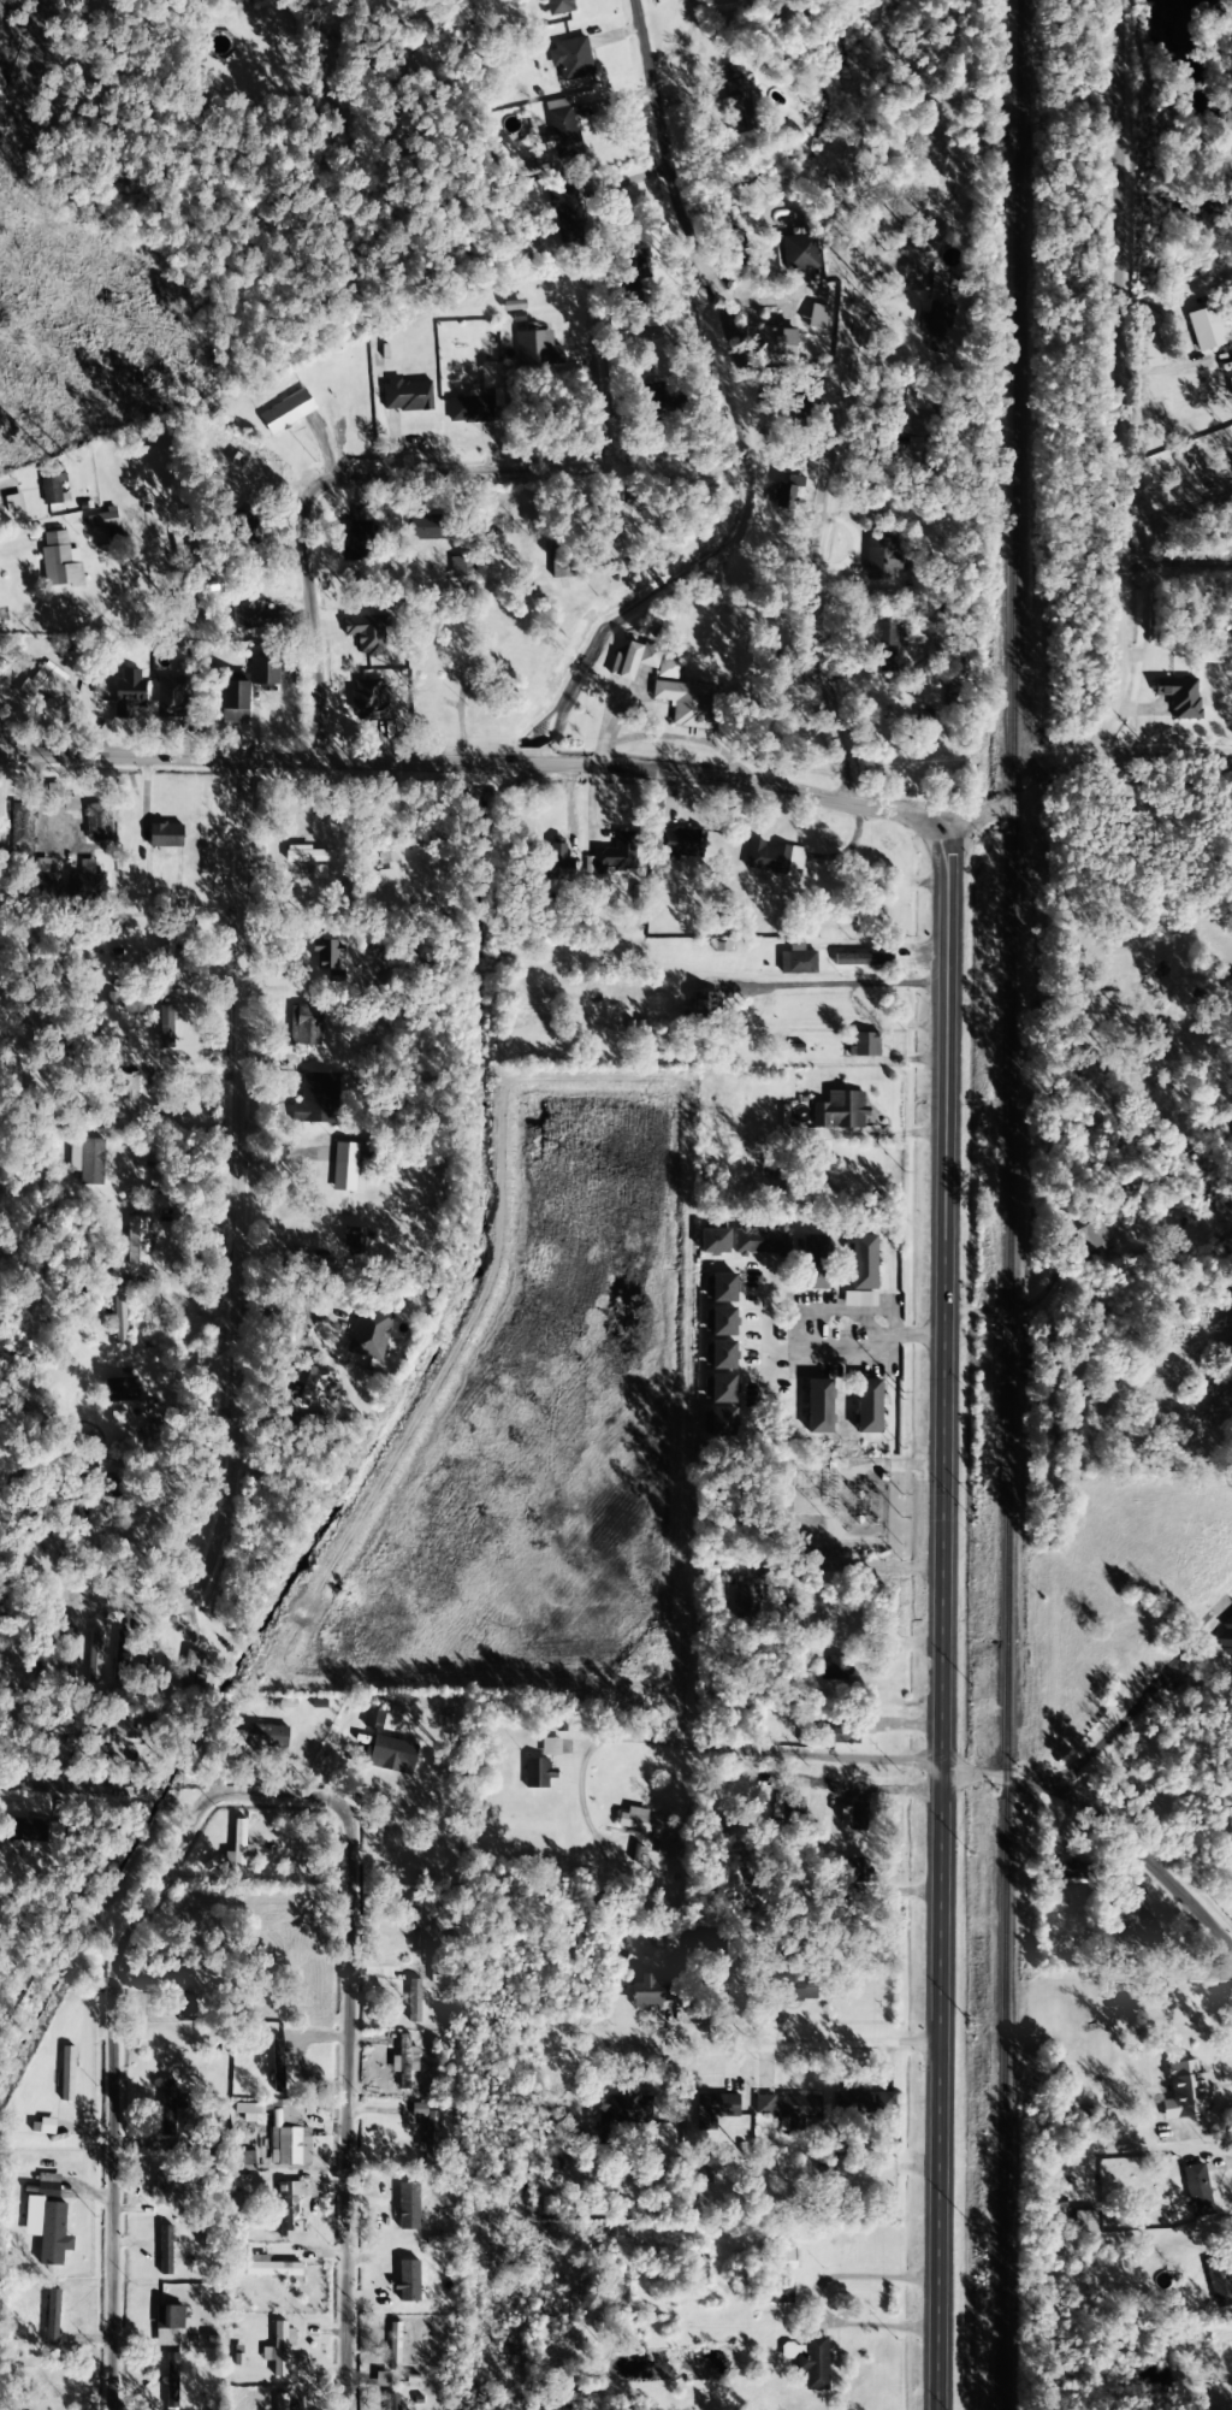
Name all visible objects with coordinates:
building: (239, 1)
building: (559, 6)
building: (570, 59)
building: (736, 94)
building: (562, 129)
building: (564, 212)
building: (798, 250)
road: (150, 264)
building: (634, 265)
building: (940, 284)
building: (816, 317)
building: (932, 320)
building: (1207, 329)
building: (776, 345)
building: (537, 349)
road: (1120, 385)
road: (810, 386)
building: (405, 396)
building: (650, 400)
building: (468, 409)
building: (913, 410)
building: (286, 412)
road: (551, 460)
road: (229, 474)
building: (52, 488)
building: (786, 491)
building: (13, 503)
building: (102, 519)
building: (425, 527)
building: (248, 528)
building: (357, 538)
building: (883, 559)
road: (1175, 561)
building: (59, 562)
building: (561, 563)
building: (456, 567)
building: (256, 615)
building: (366, 633)
building: (887, 643)
building: (640, 662)
building: (263, 671)
building: (48, 685)
building: (128, 693)
building: (1179, 697)
building: (170, 698)
building: (369, 701)
building: (233, 702)
building: (688, 704)
road: (476, 750)
road: (1157, 760)
road: (1017, 798)
building: (97, 822)
building: (20, 828)
building: (164, 834)
building: (402, 843)
building: (681, 843)
building: (614, 853)
building: (557, 856)
building: (772, 858)
building: (385, 878)
building: (49, 880)
building: (85, 886)
building: (164, 957)
building: (859, 959)
building: (796, 961)
building: (704, 1005)
building: (304, 1024)
building: (864, 1045)
building: (123, 1097)
building: (315, 1099)
building: (840, 1110)
building: (87, 1160)
building: (346, 1169)
railway: (1006, 1204)
building: (1092, 1235)
building: (762, 1240)
building: (136, 1241)
building: (356, 1241)
building: (712, 1241)
building: (813, 1262)
building: (863, 1263)
building: (718, 1288)
road: (205, 1296)
building: (858, 1299)
building: (117, 1316)
building: (718, 1322)
building: (368, 1334)
road: (861, 1354)
building: (718, 1355)
building: (315, 1387)
building: (120, 1389)
building: (722, 1389)
building: (818, 1406)
building: (867, 1406)
building: (719, 1423)
power substation: (836, 1504)
road: (805, 1596)
building: (745, 1602)
road: (937, 1615)
building: (1225, 1637)
building: (128, 1655)
building: (94, 1656)
building: (192, 1662)
road: (1144, 1695)
building: (373, 1717)
building: (46, 1725)
building: (130, 1729)
building: (843, 1733)
building: (266, 1737)
building: (550, 1747)
road: (713, 1749)
building: (392, 1752)
building: (537, 1773)
road: (1104, 1804)
building: (852, 1815)
building: (650, 1830)
building: (34, 1832)
building: (238, 1849)
building: (1073, 1871)
building: (598, 1885)
building: (423, 1920)
road: (345, 1937)
building: (712, 1949)
building: (167, 1979)
road: (776, 1984)
building: (793, 1987)
building: (654, 1990)
building: (414, 2001)
building: (404, 2061)
building: (278, 2065)
building: (66, 2074)
road: (106, 2090)
building: (1185, 2091)
building: (763, 2104)
building: (872, 2104)
building: (166, 2107)
building: (626, 2109)
building: (715, 2109)
building: (798, 2109)
building: (250, 2113)
building: (42, 2126)
building: (426, 2132)
building: (289, 2146)
building: (245, 2161)
road: (1222, 2163)
building: (47, 2185)
building: (159, 2189)
building: (1196, 2190)
building: (286, 2205)
building: (408, 2207)
building: (1084, 2222)
building: (53, 2234)
building: (165, 2250)
building: (272, 2269)
building: (408, 2281)
building: (1220, 2287)
building: (168, 2317)
building: (393, 2346)
building: (278, 2349)
building: (812, 2363)
building: (171, 2380)
building: (381, 2380)
building: (392, 2402)
building: (282, 2403)

